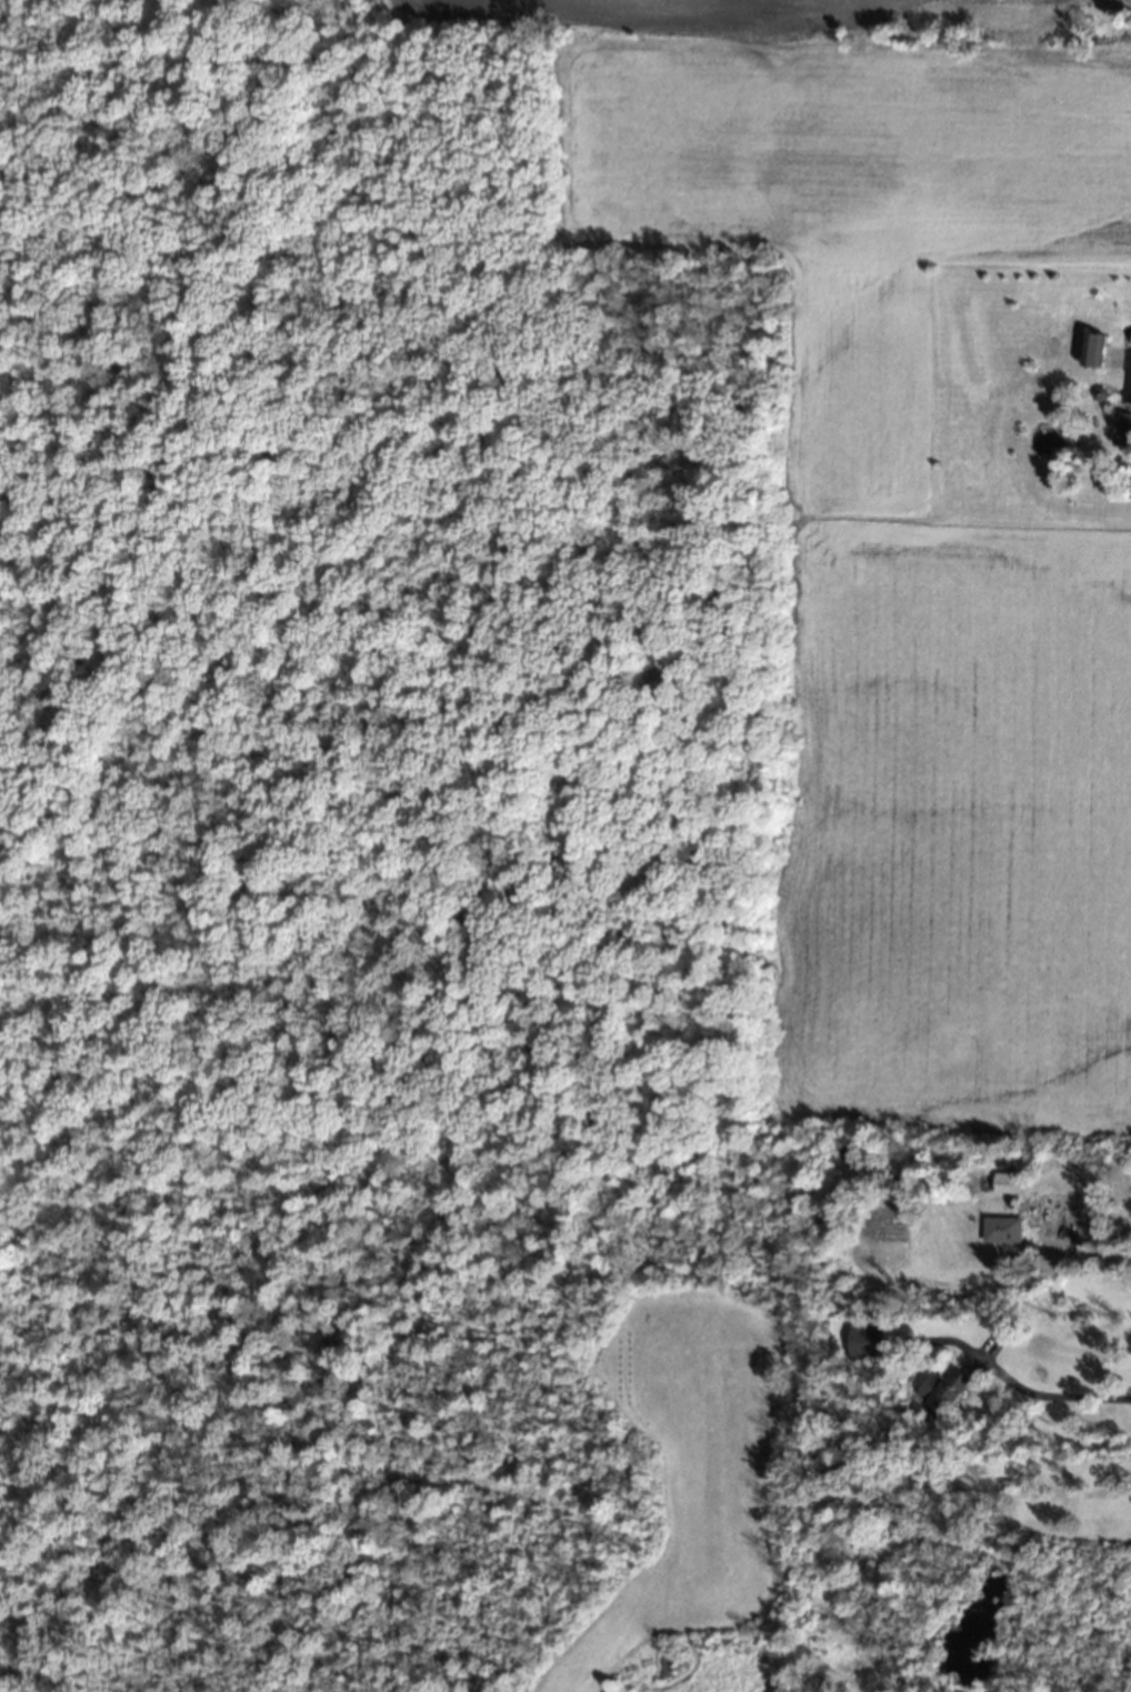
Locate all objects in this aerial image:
park: (163, 20)
building: (1073, 31)
building: (1094, 351)
building: (1122, 430)
building: (1007, 1184)
building: (1002, 1231)
road: (1093, 1261)
building: (868, 1342)
building: (943, 1392)
road: (1048, 1400)

